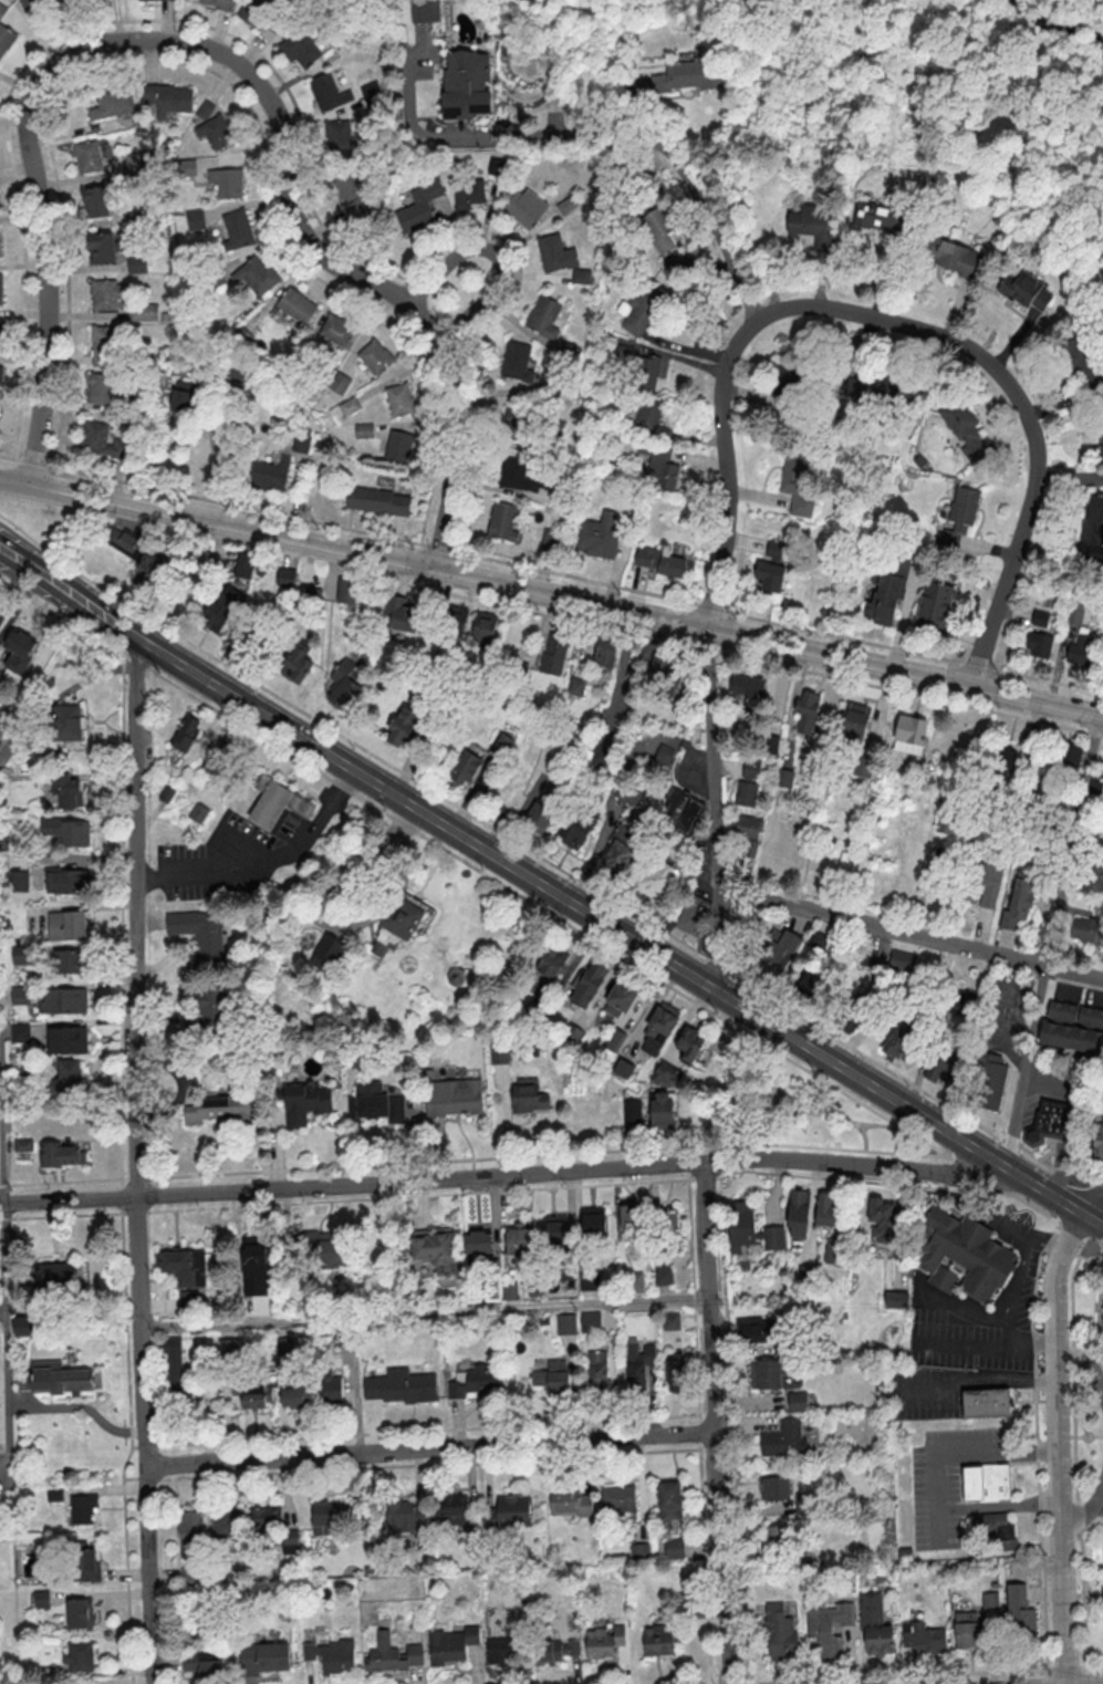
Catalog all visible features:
building: (218, 3)
building: (33, 4)
building: (2, 9)
building: (426, 10)
building: (253, 12)
river: (1052, 23)
building: (4, 40)
building: (300, 48)
road: (230, 56)
building: (689, 74)
building: (466, 83)
building: (329, 91)
building: (372, 92)
building: (168, 98)
building: (112, 102)
building: (205, 110)
building: (215, 131)
building: (339, 135)
road: (653, 143)
building: (87, 155)
building: (137, 163)
building: (185, 166)
building: (108, 168)
building: (497, 168)
building: (227, 181)
building: (468, 193)
building: (352, 196)
building: (95, 200)
building: (419, 206)
building: (524, 207)
building: (876, 216)
building: (195, 218)
building: (812, 224)
building: (657, 227)
building: (238, 228)
building: (102, 247)
building: (556, 252)
building: (954, 256)
road: (497, 259)
building: (136, 263)
building: (257, 273)
building: (581, 274)
building: (1, 288)
building: (1026, 289)
building: (107, 293)
building: (295, 305)
building: (641, 310)
building: (144, 311)
building: (543, 315)
road: (893, 315)
building: (337, 329)
building: (2, 333)
building: (104, 344)
building: (569, 352)
building: (375, 356)
building: (518, 360)
building: (1080, 361)
building: (641, 366)
building: (0, 376)
building: (339, 382)
building: (101, 387)
building: (873, 387)
building: (184, 395)
building: (399, 399)
building: (348, 405)
building: (649, 417)
building: (964, 429)
building: (98, 438)
building: (301, 439)
building: (400, 445)
building: (659, 465)
building: (269, 474)
building: (521, 474)
building: (797, 482)
building: (377, 499)
building: (1095, 508)
building: (958, 517)
building: (502, 521)
building: (600, 533)
building: (121, 540)
building: (666, 562)
building: (244, 564)
building: (773, 564)
road: (552, 570)
building: (147, 572)
building: (285, 578)
building: (347, 590)
road: (551, 593)
building: (312, 594)
building: (885, 597)
building: (934, 606)
building: (220, 607)
building: (1076, 612)
building: (402, 614)
building: (1, 617)
building: (1042, 618)
building: (455, 620)
building: (483, 628)
building: (1040, 646)
building: (20, 649)
building: (1084, 651)
building: (554, 652)
building: (605, 652)
road: (731, 656)
building: (296, 663)
building: (664, 674)
building: (344, 683)
building: (575, 686)
building: (750, 690)
building: (808, 713)
building: (856, 723)
building: (66, 724)
building: (402, 725)
building: (186, 731)
building: (911, 735)
building: (774, 746)
building: (664, 755)
building: (1069, 759)
building: (864, 763)
building: (467, 767)
building: (1005, 767)
building: (785, 778)
building: (1102, 780)
building: (750, 784)
building: (66, 789)
building: (1019, 793)
building: (781, 794)
building: (628, 797)
building: (280, 802)
road: (714, 809)
building: (680, 810)
building: (198, 811)
building: (543, 811)
road: (435, 817)
road: (408, 821)
building: (947, 824)
building: (579, 825)
building: (747, 827)
building: (67, 830)
building: (1012, 834)
building: (1034, 842)
building: (752, 849)
building: (618, 854)
building: (946, 854)
parking lot: (362, 855)
parking lot: (230, 860)
road: (544, 861)
road: (267, 862)
road: (406, 863)
building: (656, 877)
building: (1093, 877)
building: (20, 880)
building: (69, 880)
building: (986, 881)
road: (398, 894)
building: (1020, 898)
road: (322, 904)
road: (552, 914)
building: (403, 922)
building: (67, 924)
building: (1088, 931)
road: (909, 933)
building: (200, 936)
road: (1051, 938)
building: (778, 950)
building: (330, 952)
building: (21, 954)
building: (867, 957)
building: (70, 958)
building: (551, 961)
building: (904, 961)
building: (457, 975)
road: (121, 978)
building: (810, 983)
building: (587, 984)
building: (20, 994)
building: (618, 999)
building: (64, 1000)
building: (957, 1001)
building: (208, 1007)
building: (1064, 1011)
parking lot: (1005, 1012)
building: (1091, 1017)
road: (1003, 1018)
fountain: (368, 1019)
road: (1070, 1022)
building: (660, 1025)
building: (20, 1032)
building: (967, 1032)
building: (1050, 1035)
building: (1066, 1038)
building: (67, 1039)
building: (615, 1039)
building: (898, 1040)
building: (1082, 1040)
building: (1095, 1043)
building: (689, 1044)
building: (501, 1051)
building: (624, 1068)
building: (946, 1069)
building: (667, 1073)
building: (67, 1075)
building: (988, 1081)
road: (1049, 1085)
parking lot: (1052, 1085)
building: (1093, 1085)
road: (736, 1087)
road: (777, 1088)
building: (529, 1094)
building: (305, 1101)
building: (374, 1103)
park: (797, 1105)
building: (217, 1109)
building: (663, 1109)
building: (632, 1111)
road: (797, 1114)
road: (818, 1114)
road: (928, 1116)
building: (1053, 1124)
road: (868, 1127)
building: (1099, 1142)
building: (23, 1144)
building: (61, 1154)
road: (548, 1156)
road: (136, 1158)
parking lot: (1066, 1160)
road: (1009, 1166)
road: (502, 1174)
road: (1073, 1177)
road: (1091, 1198)
road: (1069, 1202)
building: (825, 1207)
road: (166, 1210)
building: (799, 1213)
building: (668, 1219)
building: (881, 1219)
building: (593, 1220)
building: (632, 1220)
road: (997, 1222)
building: (555, 1228)
building: (751, 1228)
road: (1048, 1239)
building: (520, 1240)
building: (478, 1241)
road: (1101, 1244)
building: (326, 1246)
building: (435, 1247)
building: (832, 1250)
building: (965, 1255)
building: (254, 1266)
building: (185, 1267)
building: (59, 1274)
building: (663, 1274)
building: (636, 1281)
building: (590, 1282)
road: (1016, 1292)
parking lot: (1018, 1295)
building: (188, 1299)
building: (896, 1299)
road: (1101, 1308)
road: (424, 1310)
building: (670, 1320)
building: (590, 1321)
building: (565, 1323)
building: (23, 1326)
building: (751, 1329)
road: (1094, 1339)
road: (961, 1342)
road: (1030, 1345)
building: (227, 1347)
road: (1090, 1353)
road: (1058, 1360)
building: (637, 1362)
road: (1085, 1366)
building: (597, 1369)
building: (675, 1372)
building: (176, 1373)
building: (773, 1374)
building: (55, 1378)
building: (553, 1378)
building: (474, 1381)
building: (399, 1386)
road: (978, 1386)
building: (332, 1389)
building: (253, 1394)
parking lot: (926, 1395)
building: (292, 1396)
building: (798, 1401)
building: (986, 1403)
road: (714, 1423)
road: (1075, 1436)
building: (782, 1437)
road: (430, 1448)
road: (996, 1451)
road: (1040, 1451)
road: (934, 1480)
parking lot: (951, 1482)
building: (988, 1483)
building: (776, 1488)
building: (617, 1498)
building: (669, 1500)
building: (570, 1501)
road: (1100, 1503)
road: (999, 1505)
building: (82, 1508)
building: (452, 1509)
building: (508, 1510)
road: (1088, 1510)
parking lot: (1100, 1513)
building: (405, 1517)
building: (326, 1518)
building: (263, 1519)
building: (225, 1522)
building: (995, 1528)
building: (777, 1531)
building: (189, 1532)
building: (290, 1540)
building: (674, 1548)
building: (638, 1550)
building: (84, 1562)
building: (41, 1599)
building: (990, 1600)
road: (1063, 1600)
building: (1020, 1612)
building: (80, 1613)
building: (875, 1624)
building: (967, 1629)
building: (828, 1630)
building: (780, 1632)
building: (924, 1638)
building: (658, 1640)
building: (604, 1642)
building: (451, 1644)
building: (500, 1650)
building: (558, 1650)
building: (392, 1654)
building: (331, 1655)
building: (79, 1656)
building: (263, 1657)
building: (201, 1661)
road: (1094, 1667)
road: (895, 1676)

